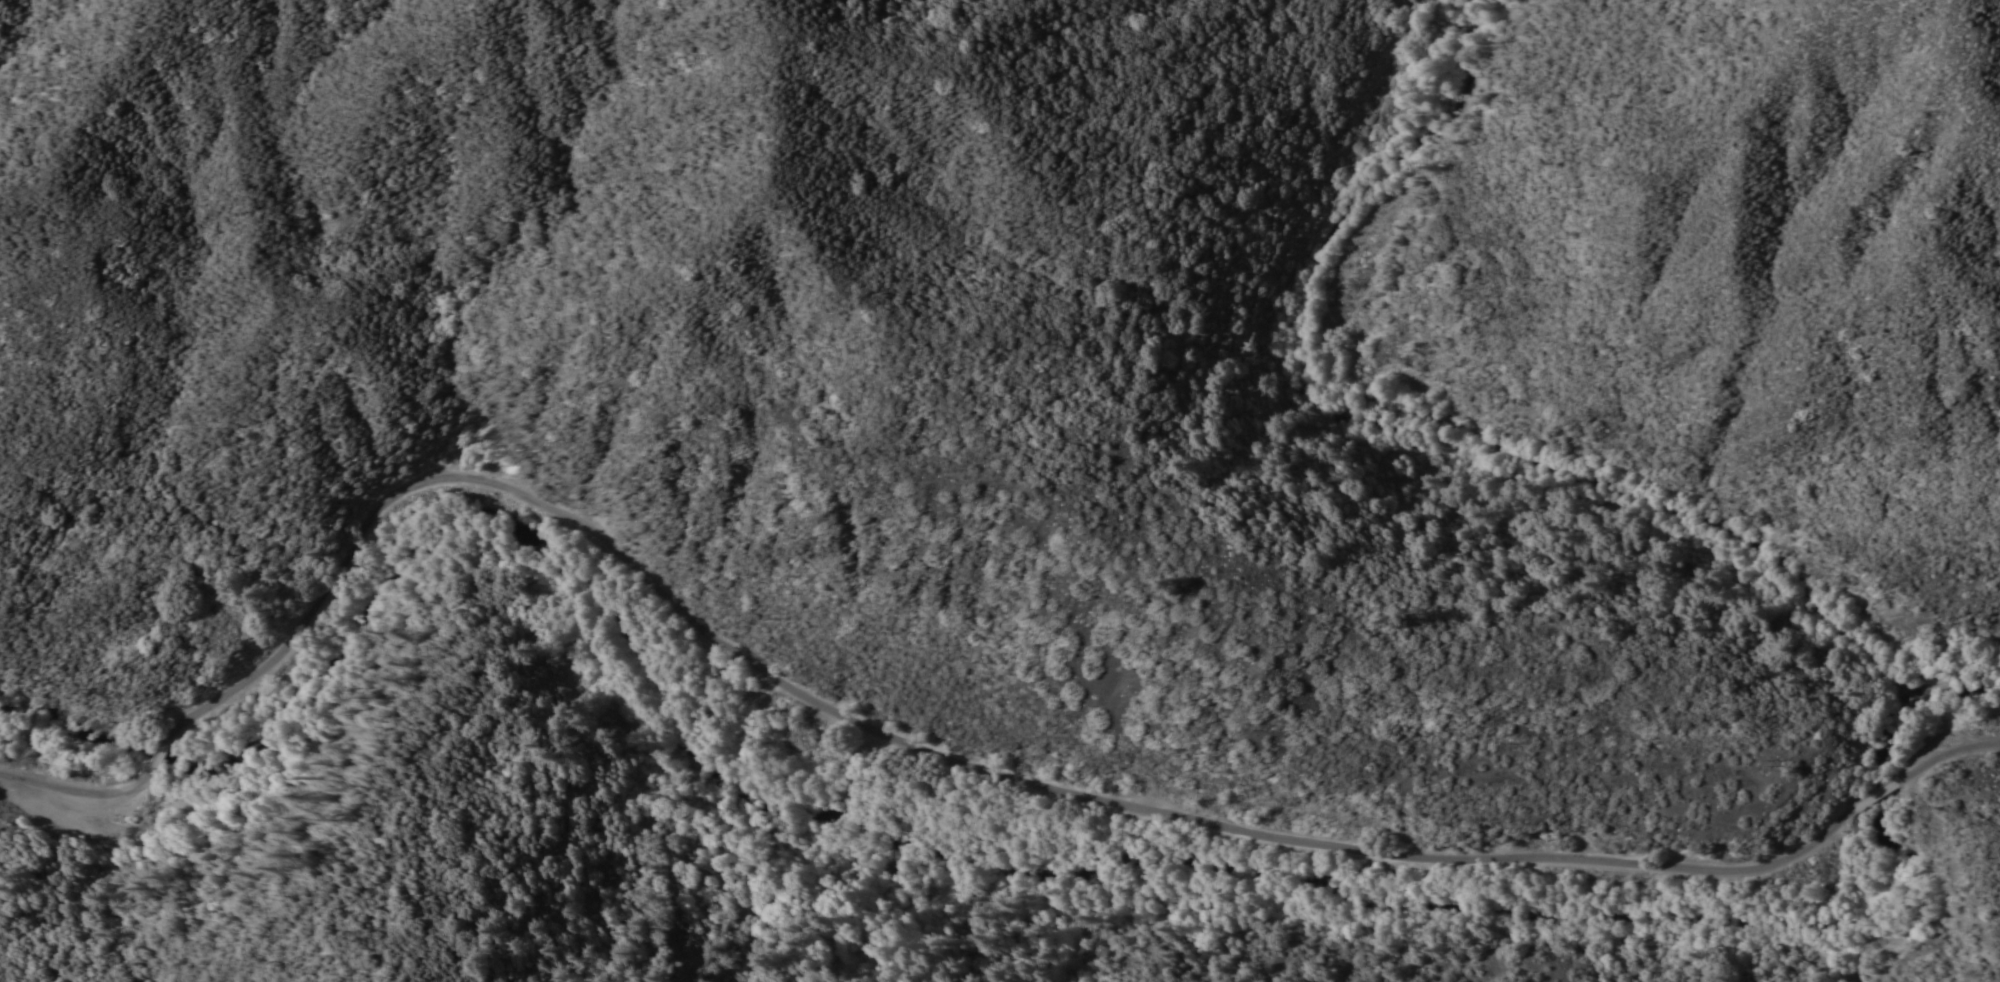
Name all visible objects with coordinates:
road: (1479, 472)
road: (926, 750)
road: (1949, 751)
road: (165, 754)
road: (78, 787)
road: (1879, 798)
river: (992, 863)

